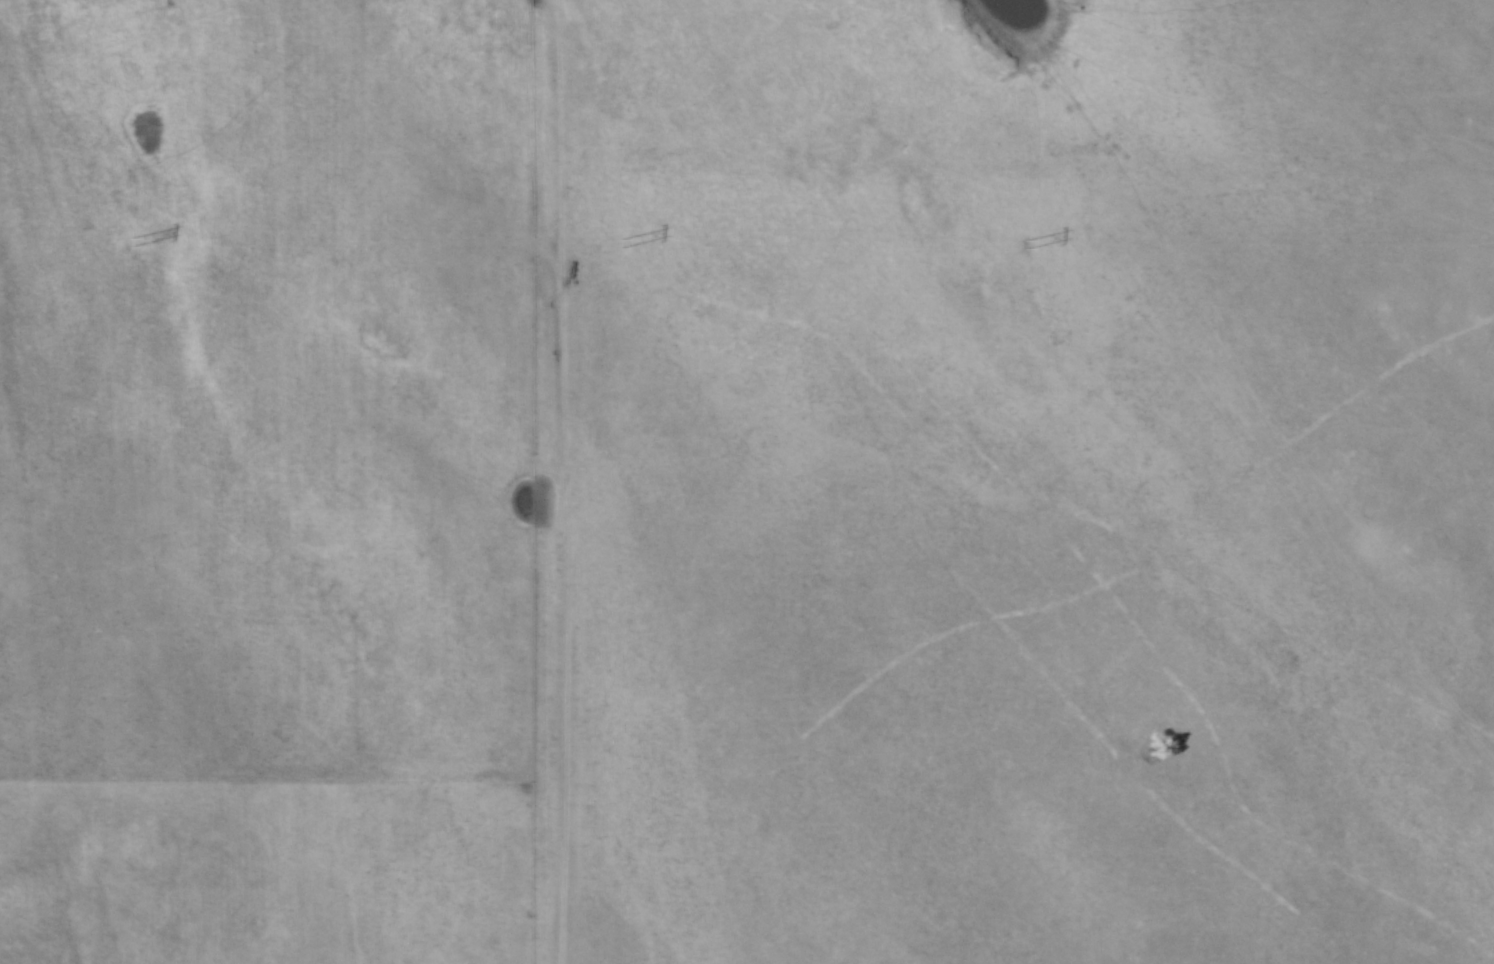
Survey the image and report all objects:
power tower: (130, 244)
power tower: (619, 245)
power tower: (1026, 246)
road: (562, 481)

